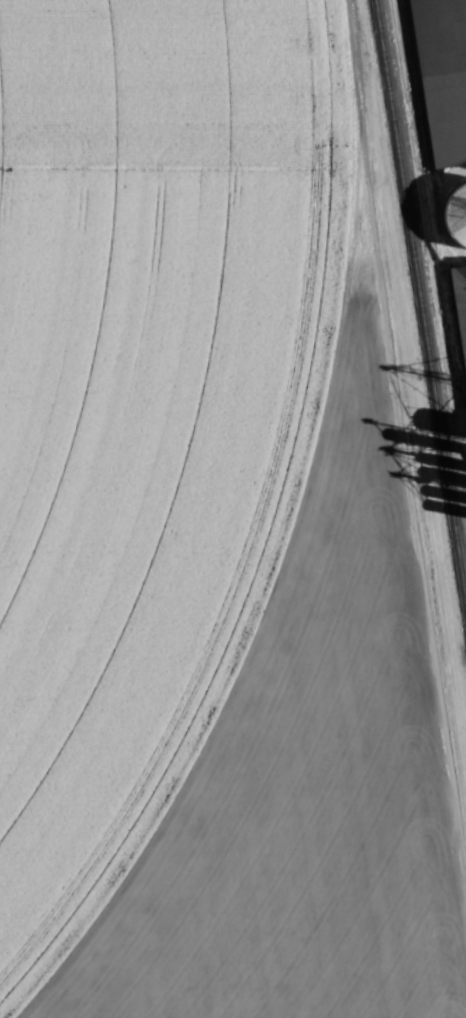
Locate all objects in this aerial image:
building: (441, 76)
building: (455, 214)
railway: (431, 218)
railway: (421, 226)
building: (458, 292)
railway: (420, 301)

